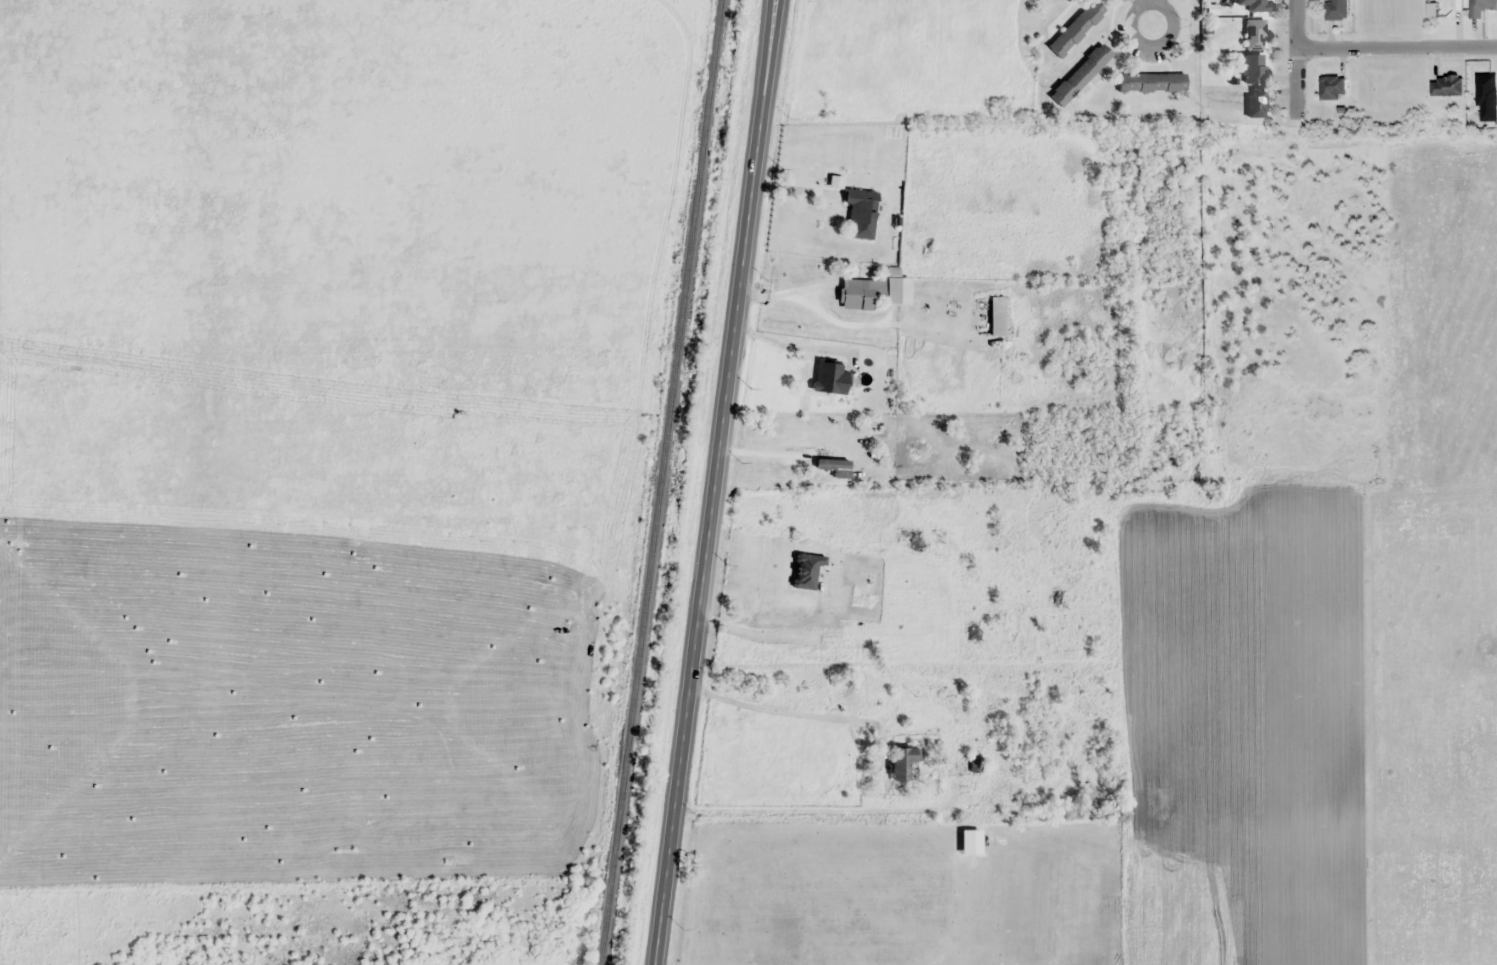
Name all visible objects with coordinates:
road: (1138, 2)
building: (1255, 5)
building: (1480, 7)
building: (1336, 10)
building: (1075, 27)
building: (1254, 34)
road: (1142, 46)
road: (1300, 56)
building: (1252, 68)
building: (1079, 74)
building: (1150, 82)
building: (1446, 85)
building: (1332, 87)
building: (1487, 97)
building: (1255, 102)
building: (860, 211)
building: (868, 290)
road: (1448, 310)
building: (996, 315)
building: (829, 377)
road: (1401, 441)
railway: (660, 482)
road: (715, 482)
building: (901, 761)
building: (974, 764)
road: (817, 809)

